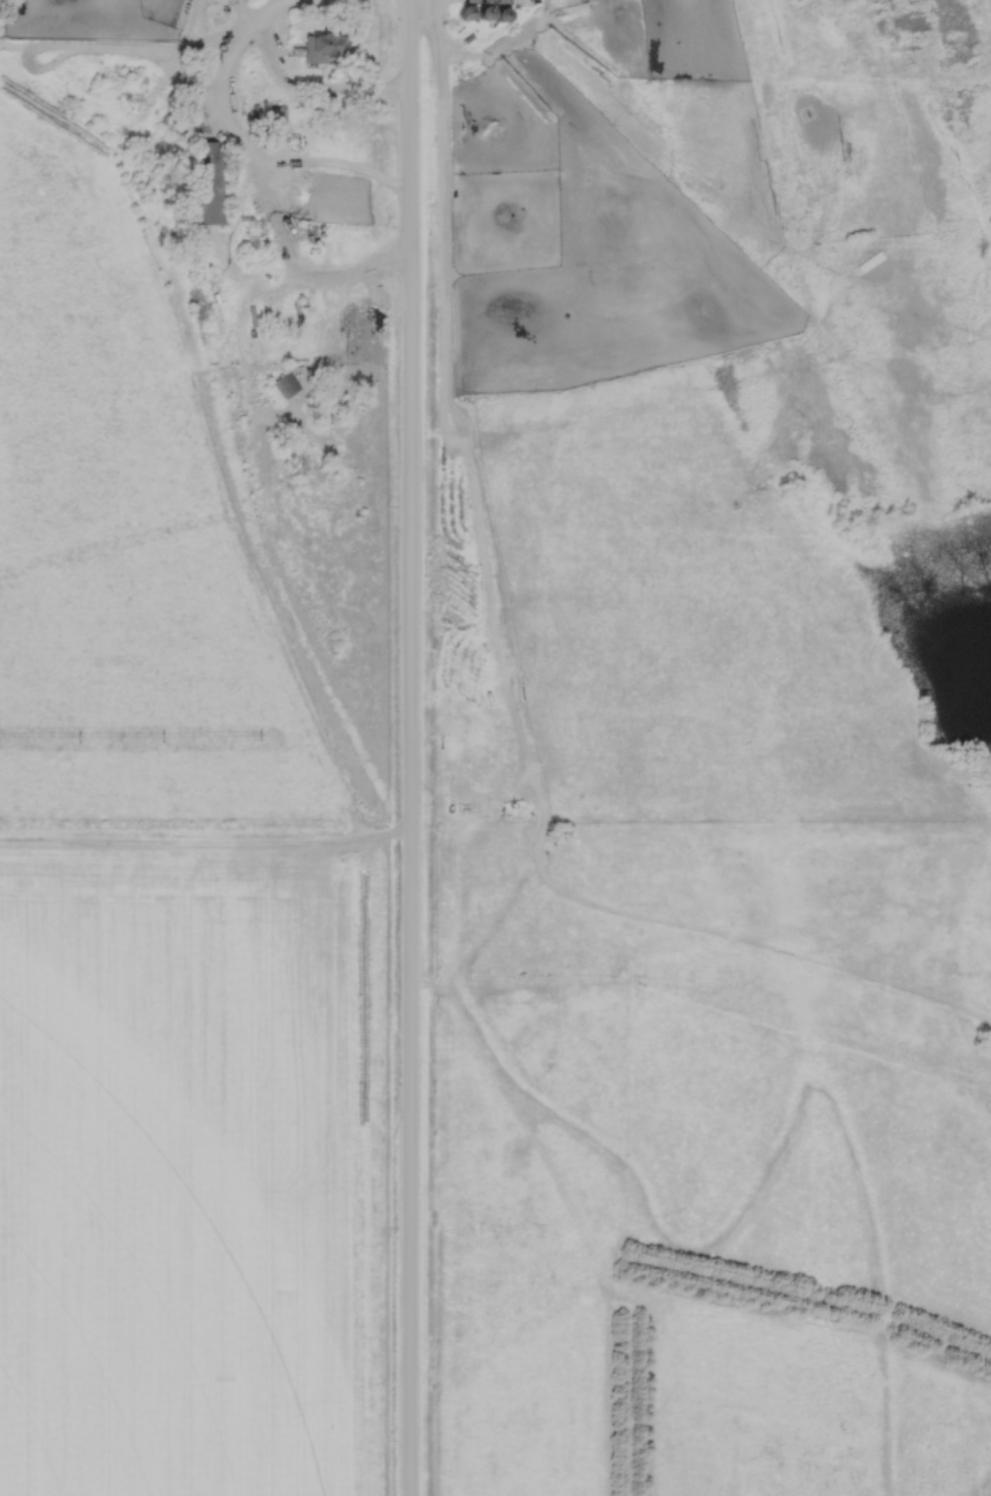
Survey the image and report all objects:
building: (478, 1)
building: (325, 50)
road: (301, 83)
building: (42, 95)
building: (209, 184)
building: (283, 385)
road: (410, 747)

